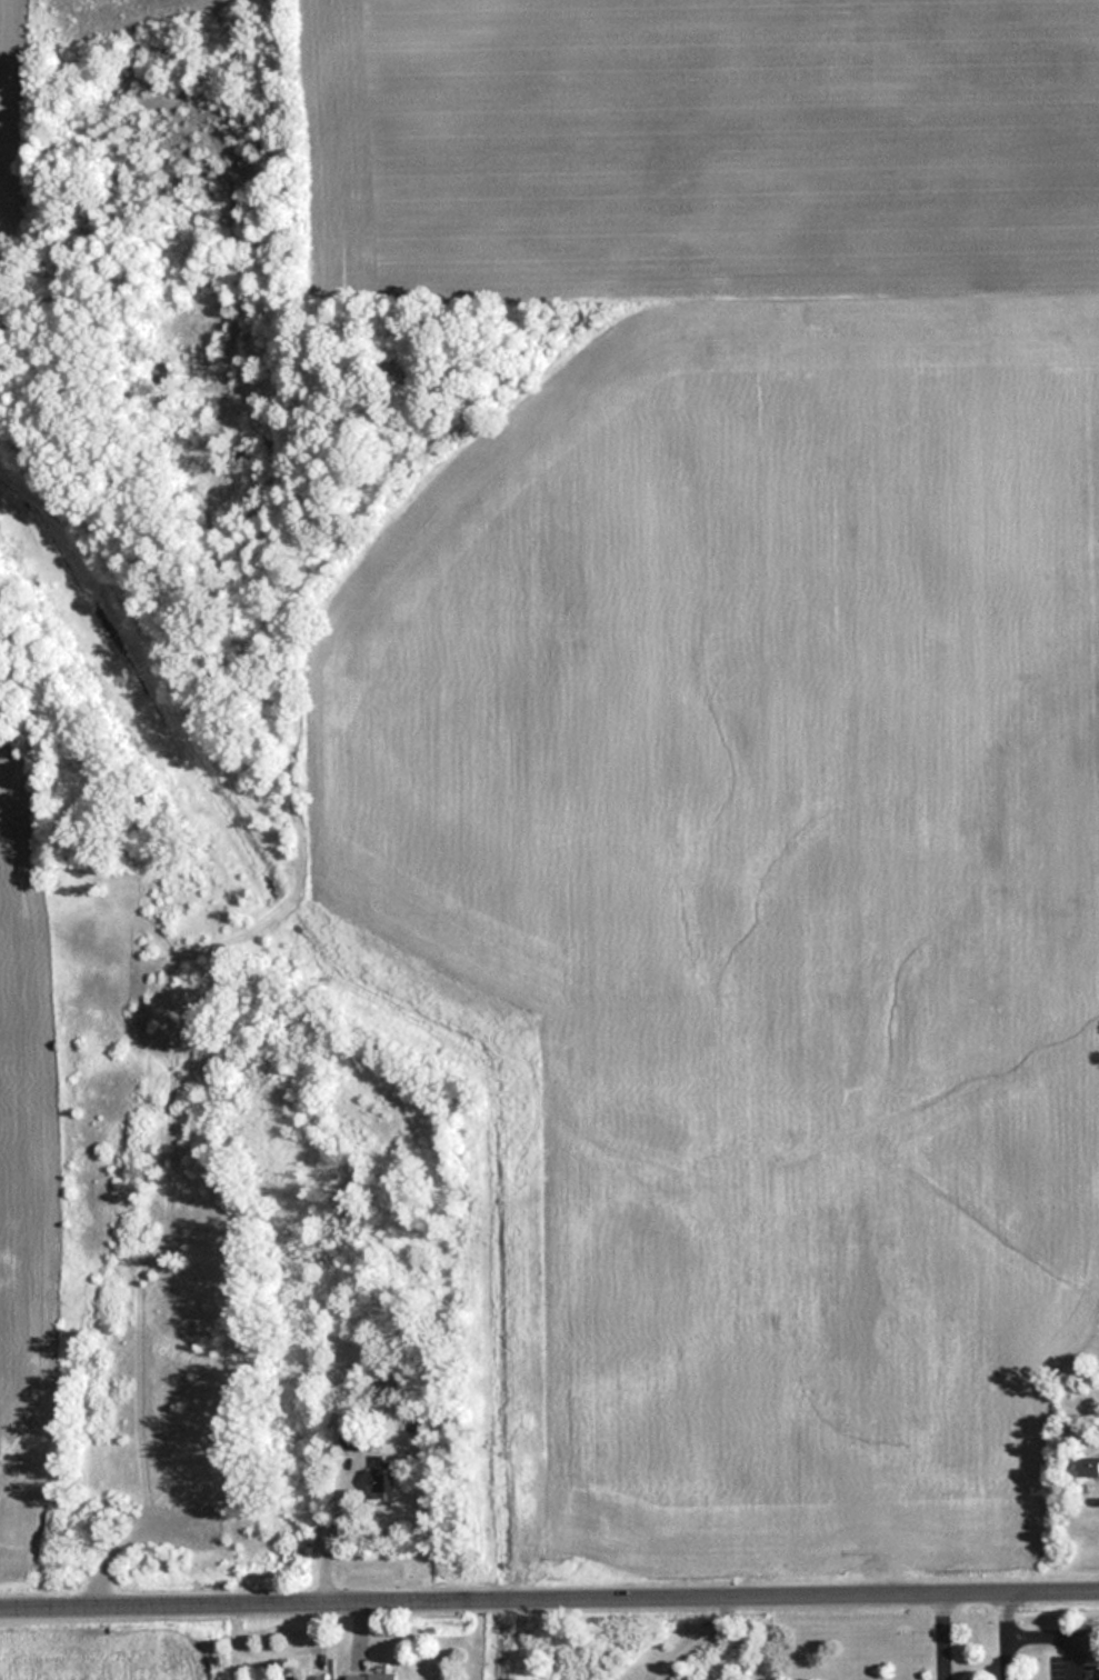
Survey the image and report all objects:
building: (372, 1364)
building: (354, 1440)
building: (1088, 1467)
road: (133, 1540)
road: (549, 1599)
road: (1059, 1626)
road: (939, 1637)
road: (1003, 1637)
building: (371, 1676)
building: (317, 1678)
building: (294, 1679)

